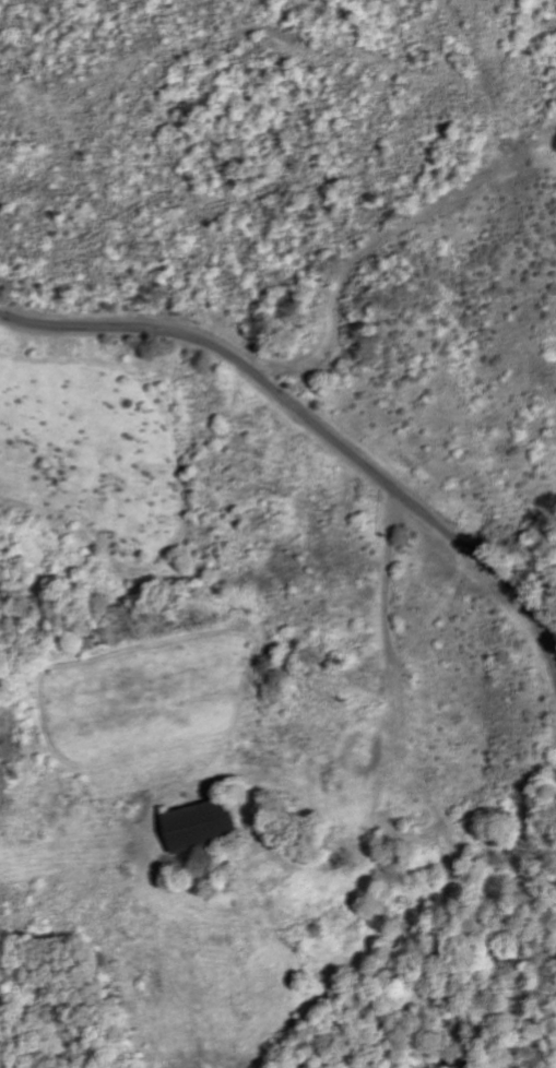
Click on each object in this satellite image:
road: (322, 431)
road: (383, 589)
road: (374, 766)
building: (200, 827)
road: (403, 832)

